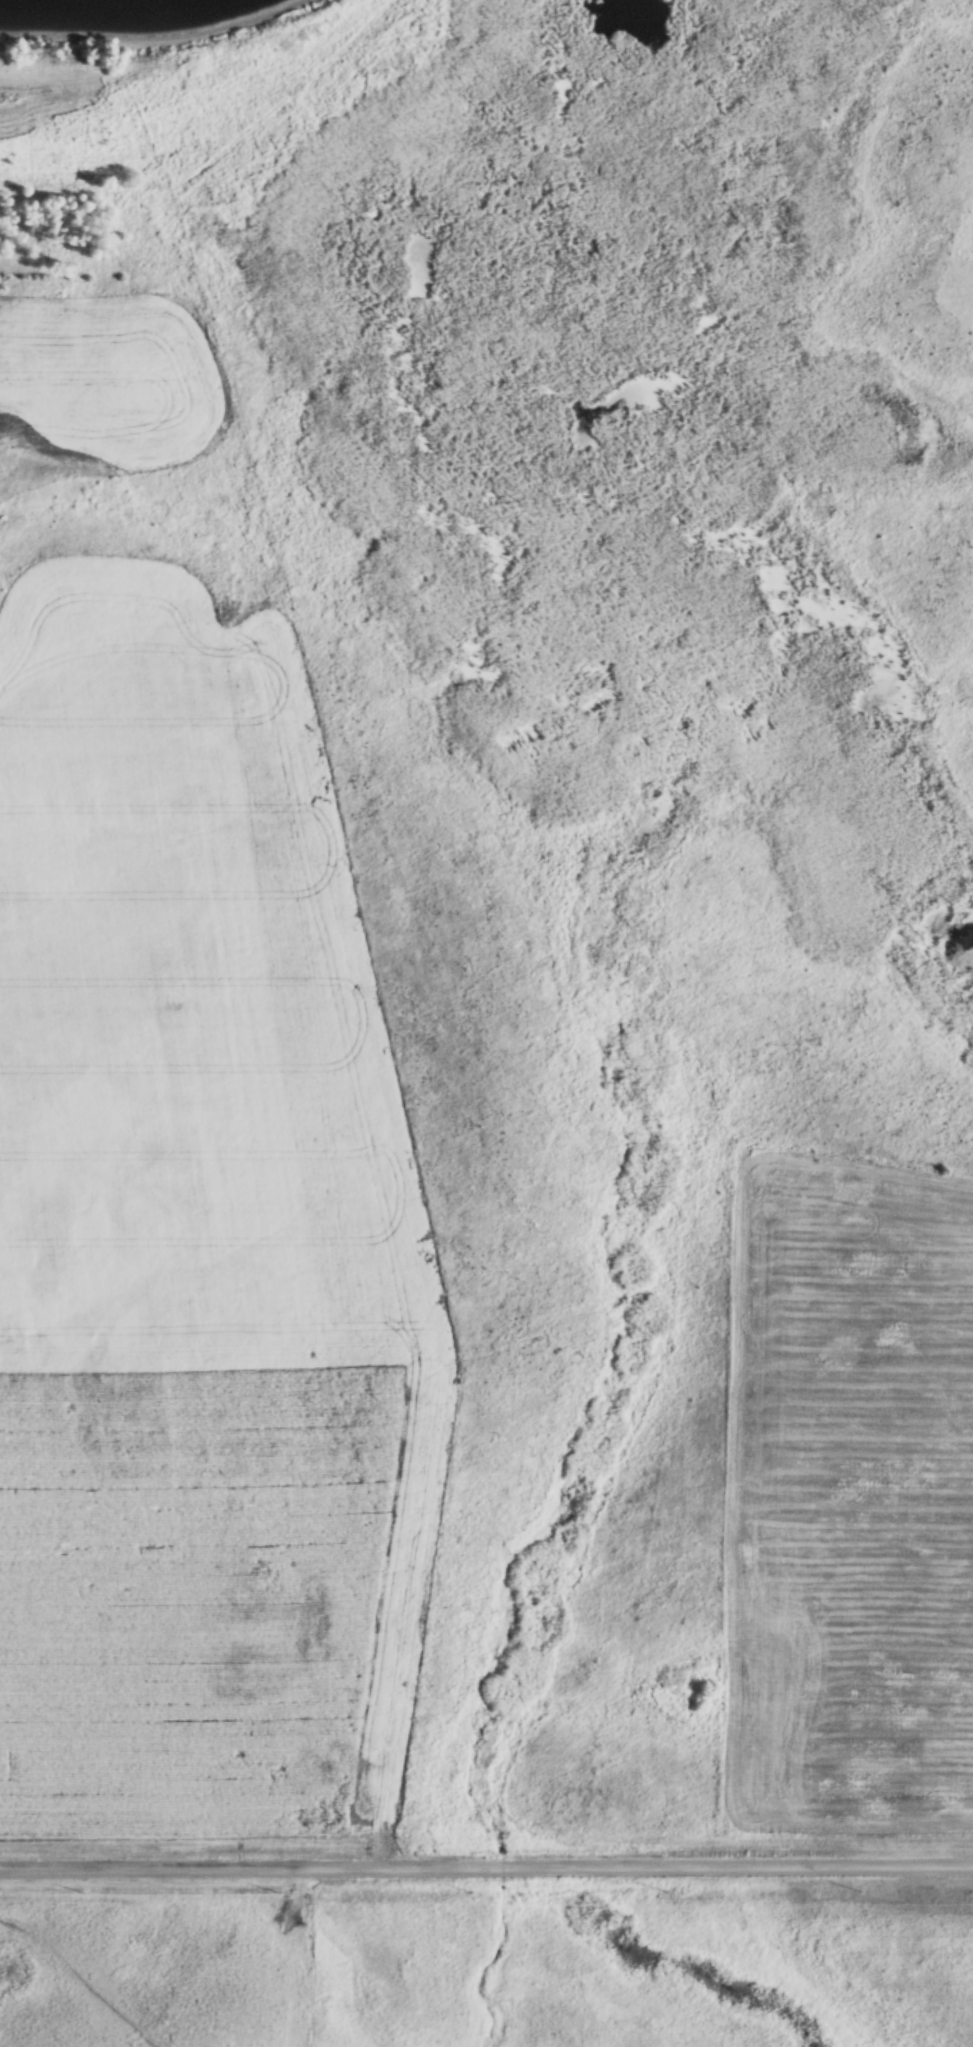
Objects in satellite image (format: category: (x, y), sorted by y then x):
road: (486, 1863)

